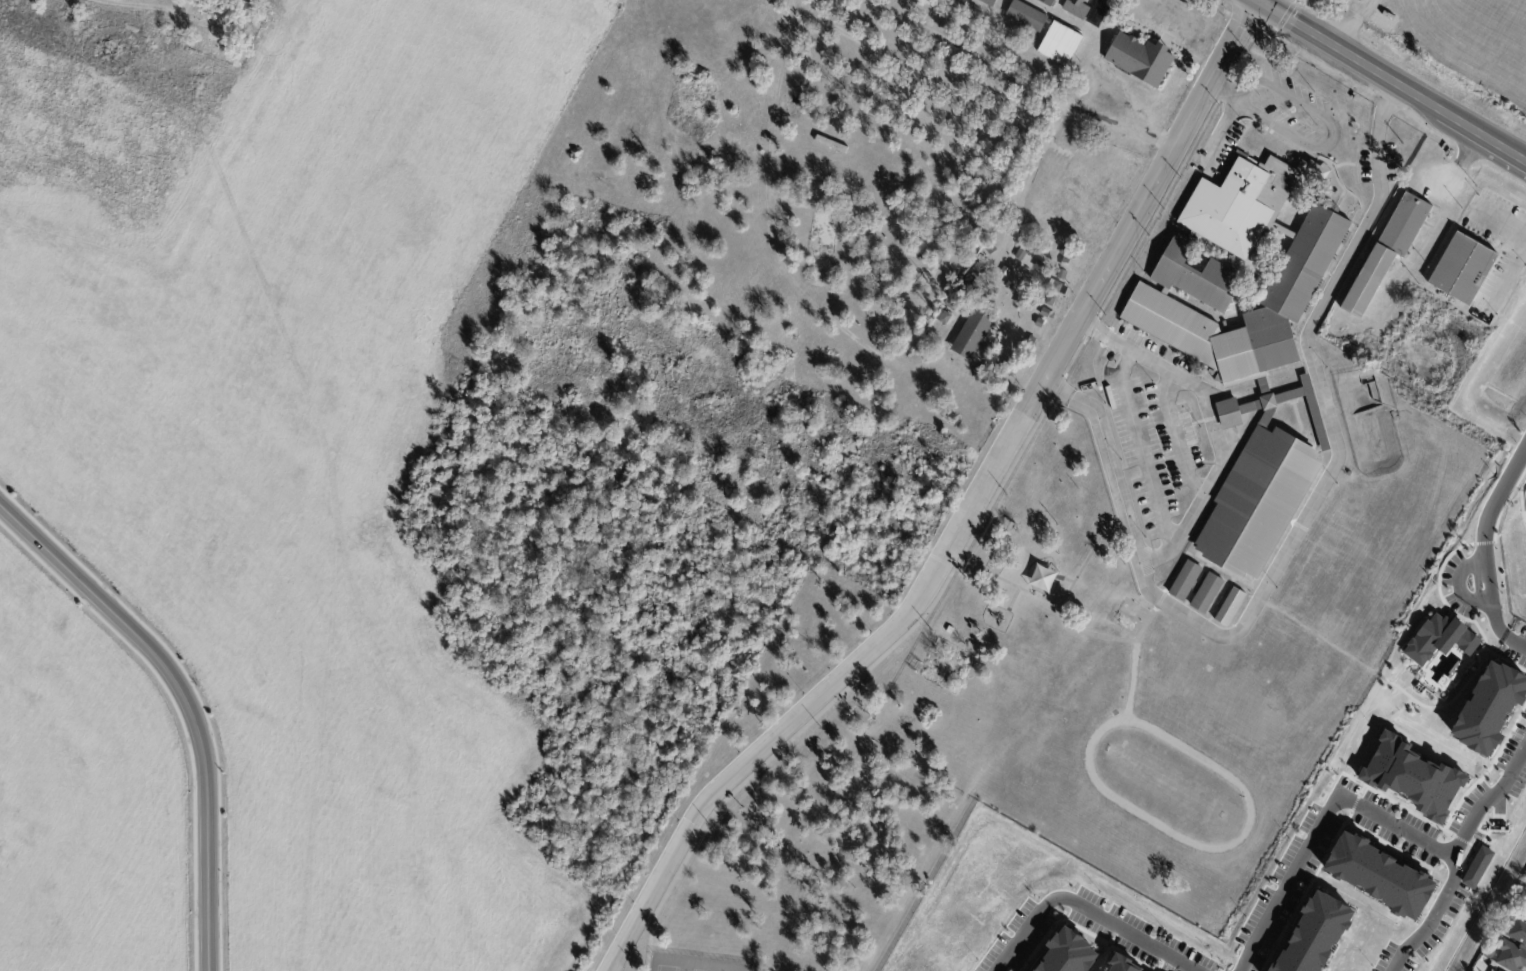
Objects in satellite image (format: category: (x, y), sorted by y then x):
road: (1169, 0)
building: (1046, 2)
building: (988, 3)
building: (1076, 9)
building: (1027, 17)
road: (1352, 23)
road: (961, 28)
crop: (1470, 40)
building: (1060, 44)
road: (1242, 56)
building: (1140, 60)
road: (1017, 79)
road: (1392, 81)
road: (1224, 88)
road: (1222, 94)
road: (1330, 128)
road: (1216, 137)
building: (830, 144)
road: (1341, 164)
building: (1316, 170)
road: (1141, 207)
road: (1159, 209)
road: (1497, 227)
building: (1066, 254)
building: (1387, 254)
building: (919, 258)
building: (1064, 264)
building: (1040, 265)
building: (1461, 268)
building: (1005, 273)
building: (1061, 275)
road: (1508, 279)
building: (1413, 285)
building: (1026, 287)
building: (1056, 287)
building: (1009, 288)
building: (1051, 302)
building: (1045, 313)
building: (1039, 323)
road: (1093, 328)
building: (973, 336)
building: (1031, 342)
building: (1247, 348)
building: (1027, 352)
road: (1075, 358)
building: (1350, 363)
road: (1057, 389)
road: (1333, 423)
road: (1179, 436)
road: (1143, 449)
parking lot: (1156, 449)
road: (1189, 521)
road: (1485, 542)
building: (1042, 579)
road: (1459, 584)
building: (1196, 587)
building: (1229, 606)
building: (950, 630)
building: (1438, 637)
road: (1517, 641)
road: (866, 670)
road: (820, 696)
road: (185, 702)
building: (1489, 706)
building: (1409, 774)
crop: (84, 791)
road: (1366, 810)
building: (1380, 875)
road: (1086, 908)
road: (1434, 918)
building: (1518, 931)
building: (1314, 934)
road: (650, 944)
building: (1066, 952)
building: (1511, 957)
park: (694, 964)
building: (1123, 964)
building: (1496, 970)

